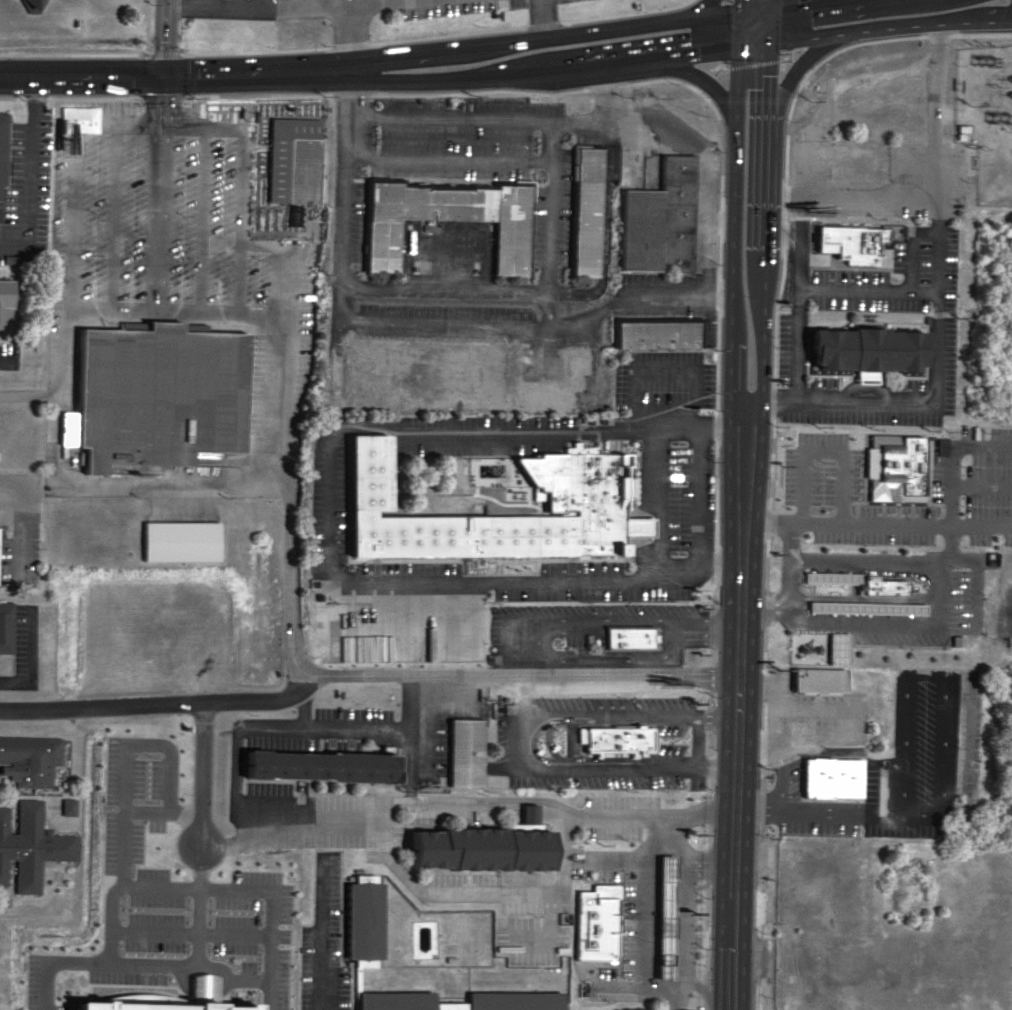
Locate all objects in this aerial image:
road: (261, 3)
building: (31, 4)
road: (271, 6)
road: (873, 12)
road: (881, 24)
road: (545, 28)
traffic signals: (751, 34)
road: (349, 38)
road: (165, 39)
road: (376, 71)
traffic signals: (165, 78)
power substation: (981, 113)
road: (494, 119)
road: (361, 133)
road: (702, 147)
building: (1, 157)
road: (445, 157)
building: (293, 163)
road: (338, 198)
building: (585, 213)
building: (444, 222)
building: (658, 222)
road: (550, 225)
building: (849, 241)
building: (9, 258)
road: (65, 267)
road: (440, 288)
road: (868, 289)
road: (797, 291)
building: (4, 301)
road: (937, 306)
road: (544, 329)
building: (658, 336)
building: (863, 347)
road: (7, 361)
road: (292, 388)
building: (156, 395)
building: (894, 469)
building: (579, 504)
road: (329, 505)
road: (741, 505)
road: (764, 539)
building: (180, 543)
road: (711, 543)
road: (19, 581)
building: (862, 591)
building: (5, 626)
park: (446, 627)
building: (629, 638)
road: (509, 643)
road: (537, 645)
building: (836, 647)
road: (364, 675)
building: (816, 679)
road: (522, 697)
building: (795, 712)
road: (519, 740)
building: (616, 740)
road: (925, 745)
building: (464, 752)
building: (29, 759)
building: (315, 765)
road: (204, 775)
building: (827, 780)
building: (67, 805)
road: (126, 810)
road: (456, 813)
road: (828, 813)
building: (28, 846)
building: (478, 852)
road: (136, 886)
gas station: (663, 914)
road: (680, 914)
building: (663, 916)
building: (363, 921)
building: (595, 922)
road: (322, 934)
road: (52, 959)
building: (859, 979)
road: (272, 994)
building: (512, 1003)
building: (143, 1006)
building: (608, 1009)

